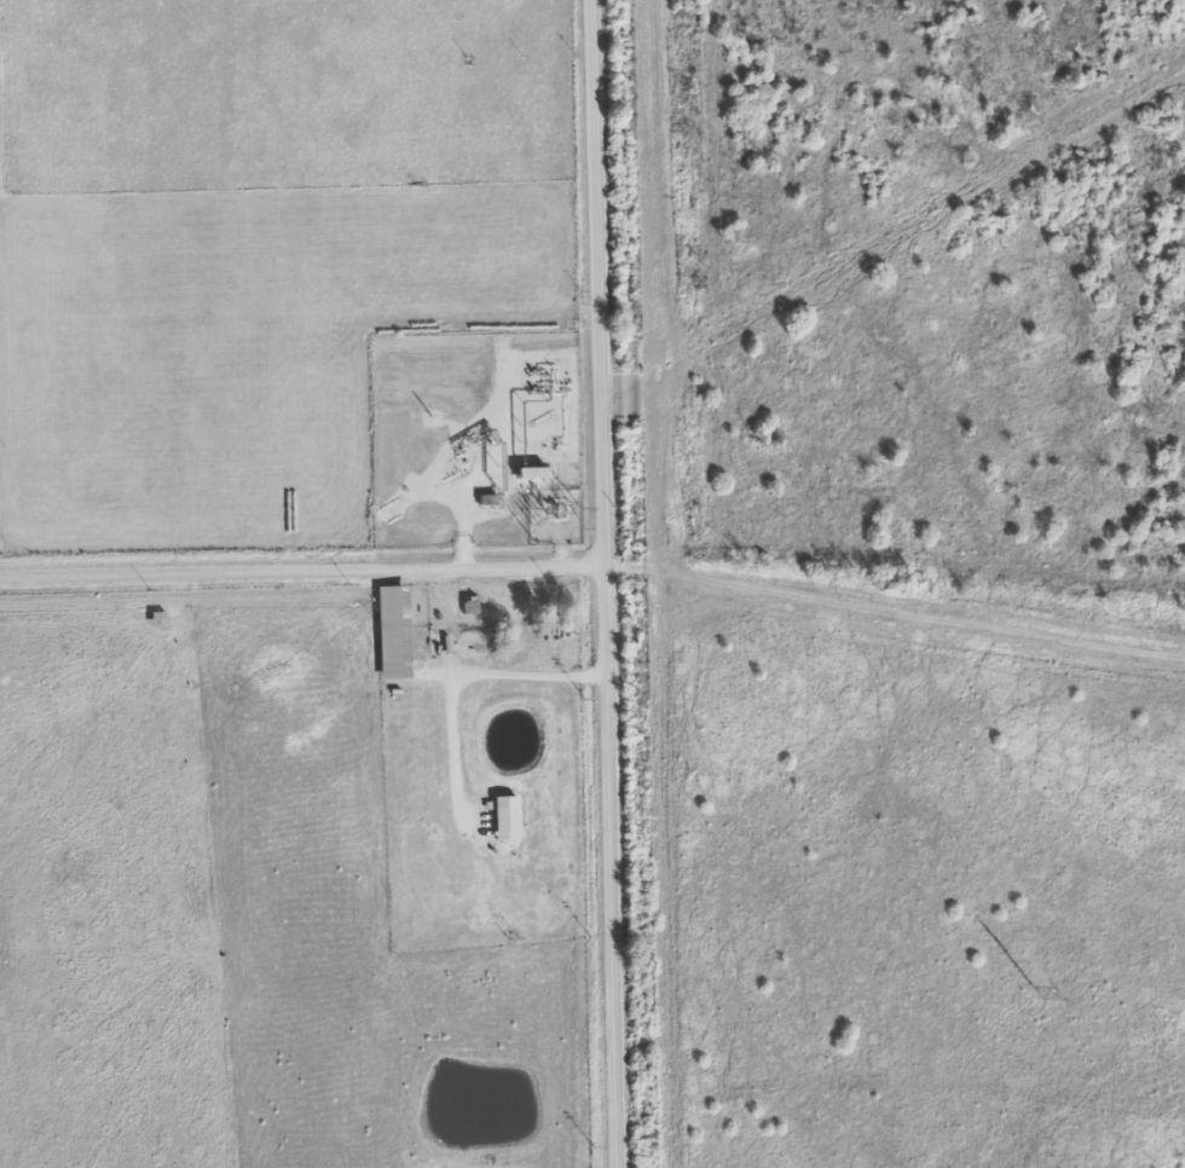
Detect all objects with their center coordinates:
power substation: (555, 515)
road: (592, 563)
road: (605, 583)
building: (391, 631)
building: (503, 817)
building: (484, 825)
power tower: (1033, 993)

